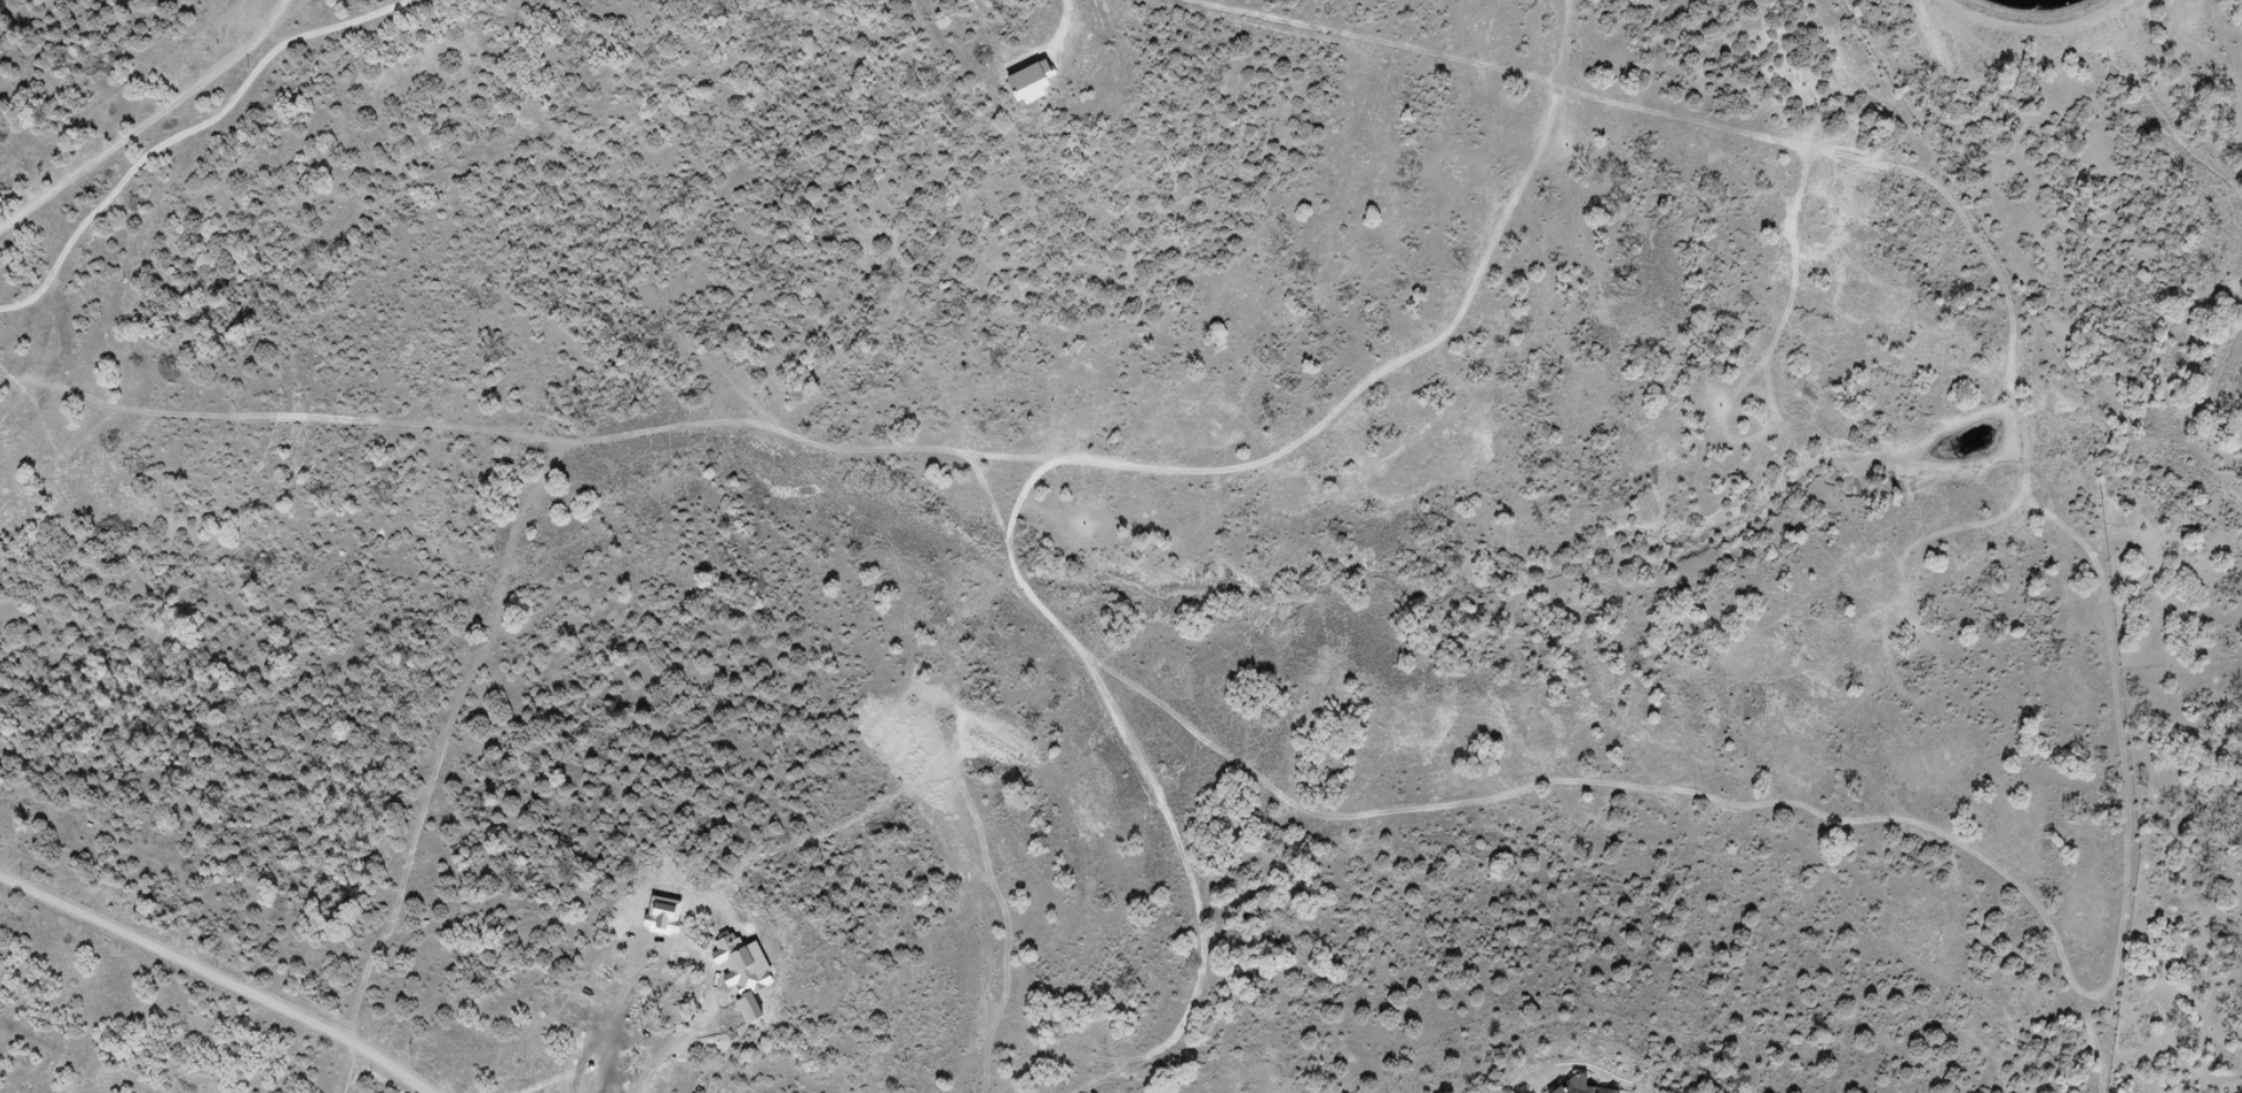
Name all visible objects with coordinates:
road: (1067, 24)
road: (147, 121)
road: (189, 129)
road: (1055, 475)
building: (1580, 1087)

